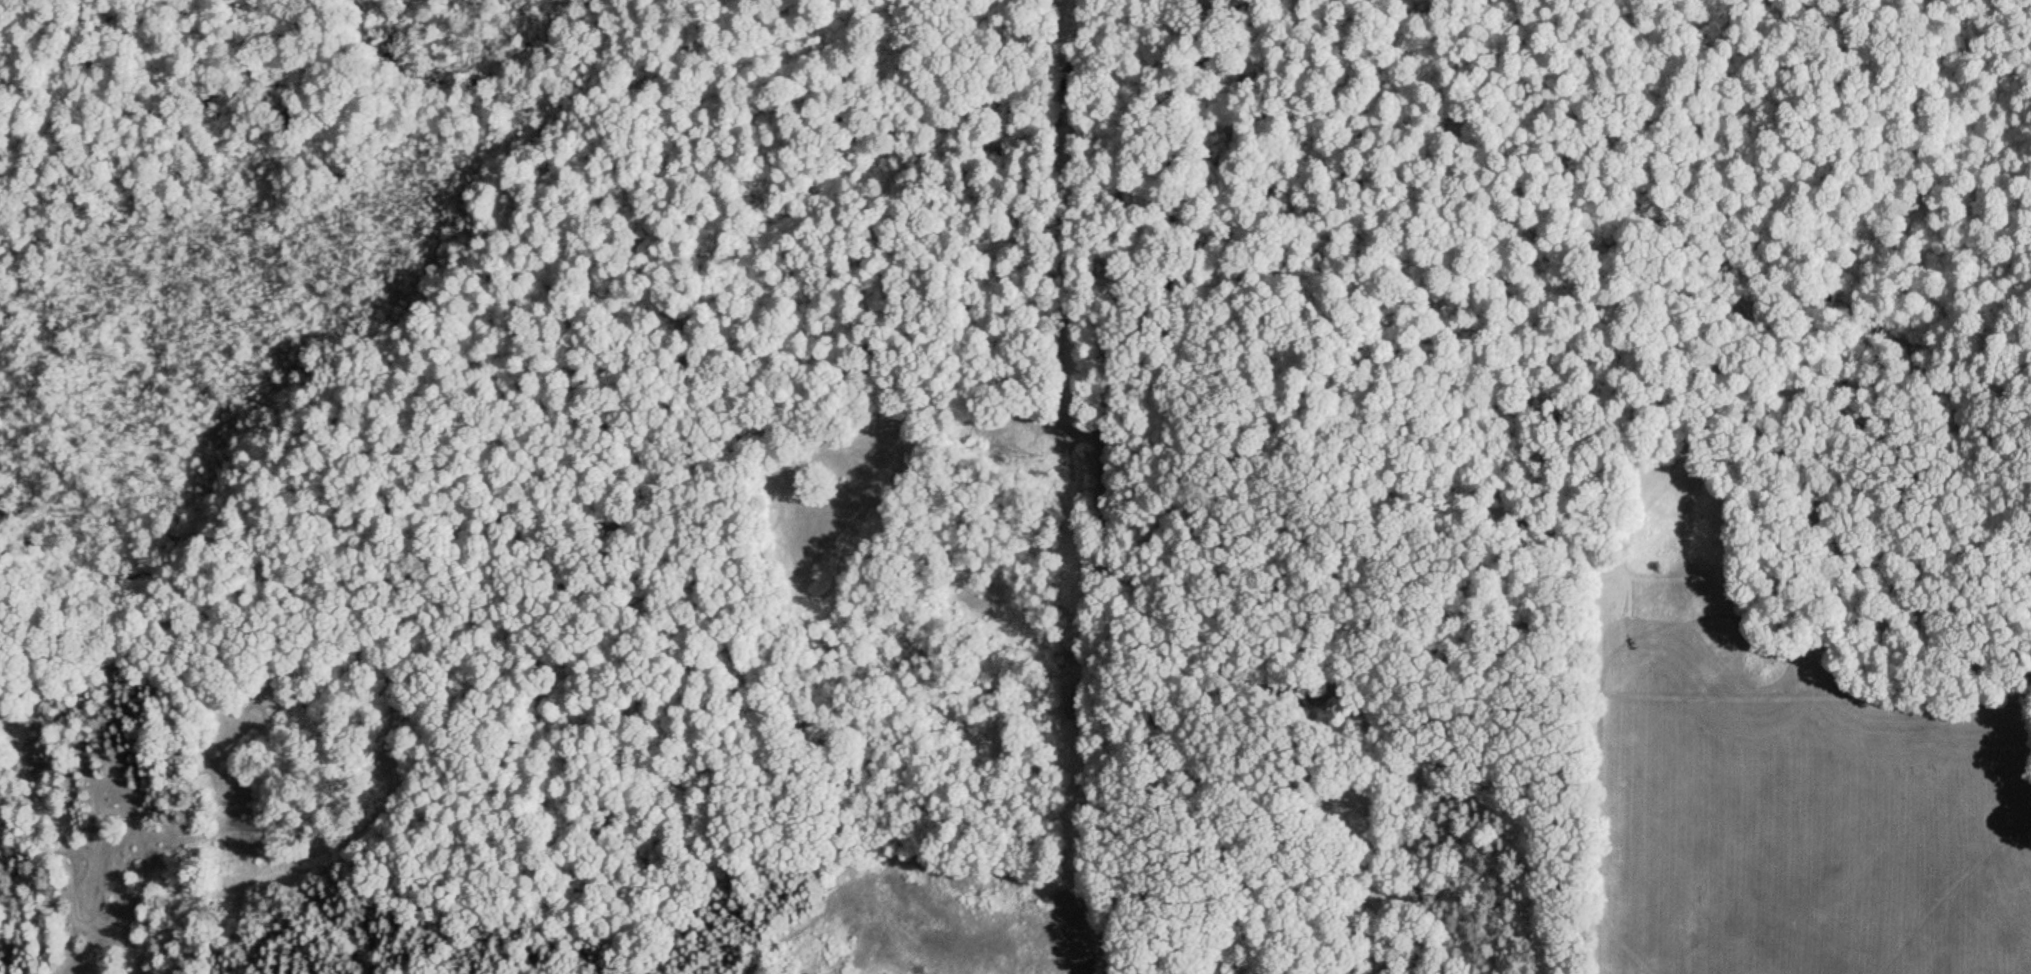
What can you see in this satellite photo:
road: (1078, 481)
crop: (1795, 810)
road: (1109, 972)

